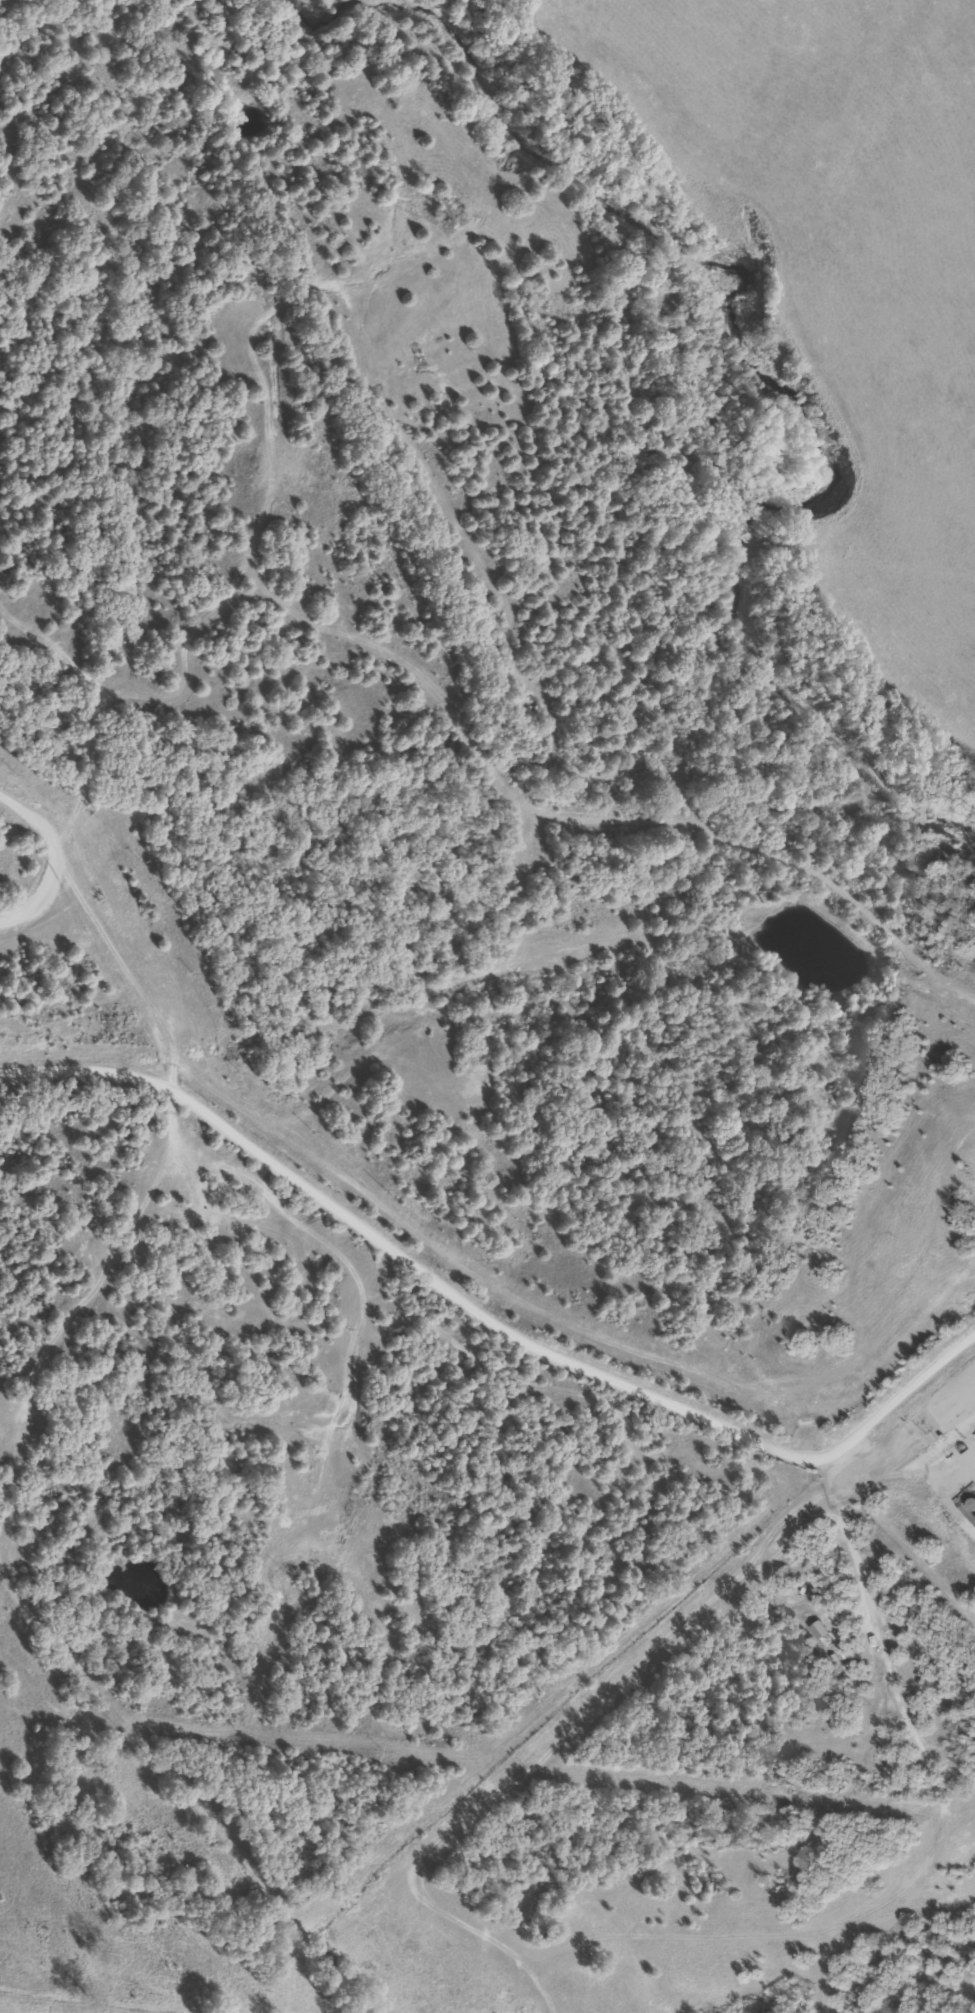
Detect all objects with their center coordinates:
road: (50, 859)
road: (492, 1317)
road: (902, 1477)

